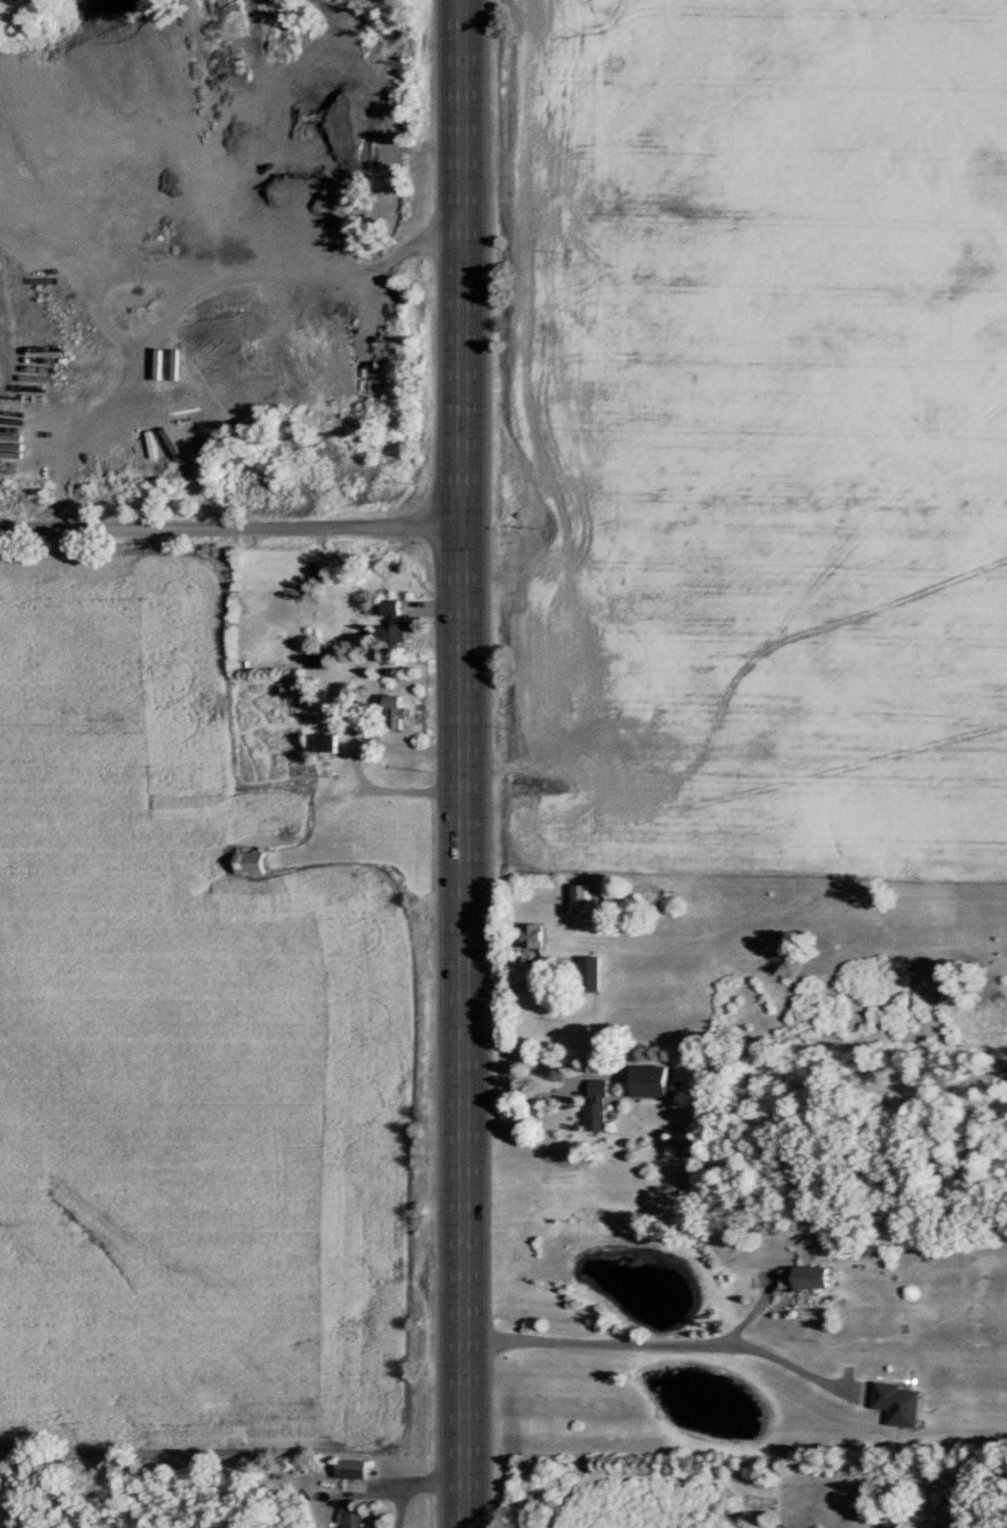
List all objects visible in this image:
road: (460, 264)
road: (230, 526)
building: (317, 570)
building: (391, 624)
building: (320, 660)
building: (394, 712)
building: (322, 742)
road: (354, 760)
building: (250, 862)
building: (581, 896)
building: (531, 934)
building: (588, 973)
road: (461, 1028)
building: (653, 1079)
building: (602, 1087)
road: (515, 1095)
building: (599, 1114)
building: (808, 1275)
road: (661, 1341)
building: (900, 1402)
building: (352, 1468)
road: (414, 1485)
building: (354, 1519)

